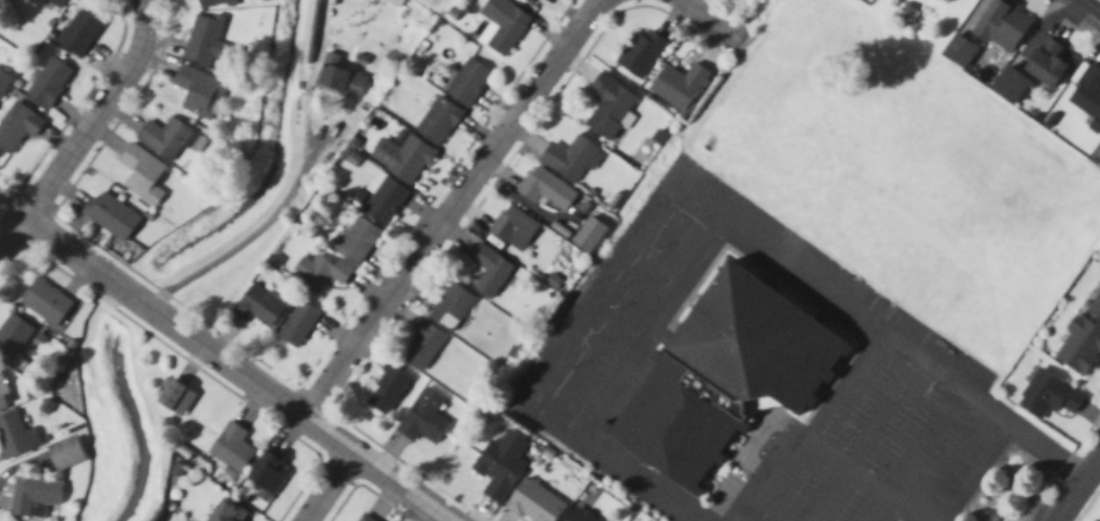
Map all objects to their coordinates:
building: (945, 1)
building: (49, 3)
building: (212, 3)
road: (1093, 3)
road: (690, 17)
building: (1002, 25)
building: (504, 29)
building: (79, 33)
building: (207, 41)
building: (960, 52)
building: (641, 54)
building: (1046, 63)
building: (338, 79)
building: (49, 84)
building: (468, 84)
building: (678, 86)
building: (199, 92)
building: (1088, 95)
building: (609, 107)
road: (99, 113)
building: (437, 122)
building: (17, 127)
building: (163, 138)
building: (1097, 153)
building: (401, 157)
building: (570, 159)
building: (141, 175)
building: (546, 190)
road: (458, 201)
building: (384, 202)
building: (111, 216)
building: (512, 228)
road: (638, 228)
road: (254, 233)
building: (590, 235)
road: (14, 239)
building: (357, 241)
building: (320, 273)
building: (490, 273)
building: (46, 302)
parking lot: (622, 302)
building: (258, 308)
building: (450, 309)
road: (641, 319)
building: (298, 325)
building: (1083, 336)
building: (13, 338)
building: (422, 348)
road: (224, 359)
building: (722, 374)
road: (844, 384)
road: (966, 390)
building: (387, 392)
building: (1052, 392)
building: (3, 395)
building: (174, 398)
building: (423, 418)
building: (13, 436)
road: (861, 438)
road: (802, 441)
building: (231, 448)
building: (65, 454)
building: (500, 463)
road: (960, 467)
building: (268, 472)
road: (1074, 485)
road: (329, 487)
building: (34, 496)
building: (534, 503)
road: (873, 508)
road: (901, 508)
park: (1092, 510)
building: (227, 511)
building: (361, 517)

